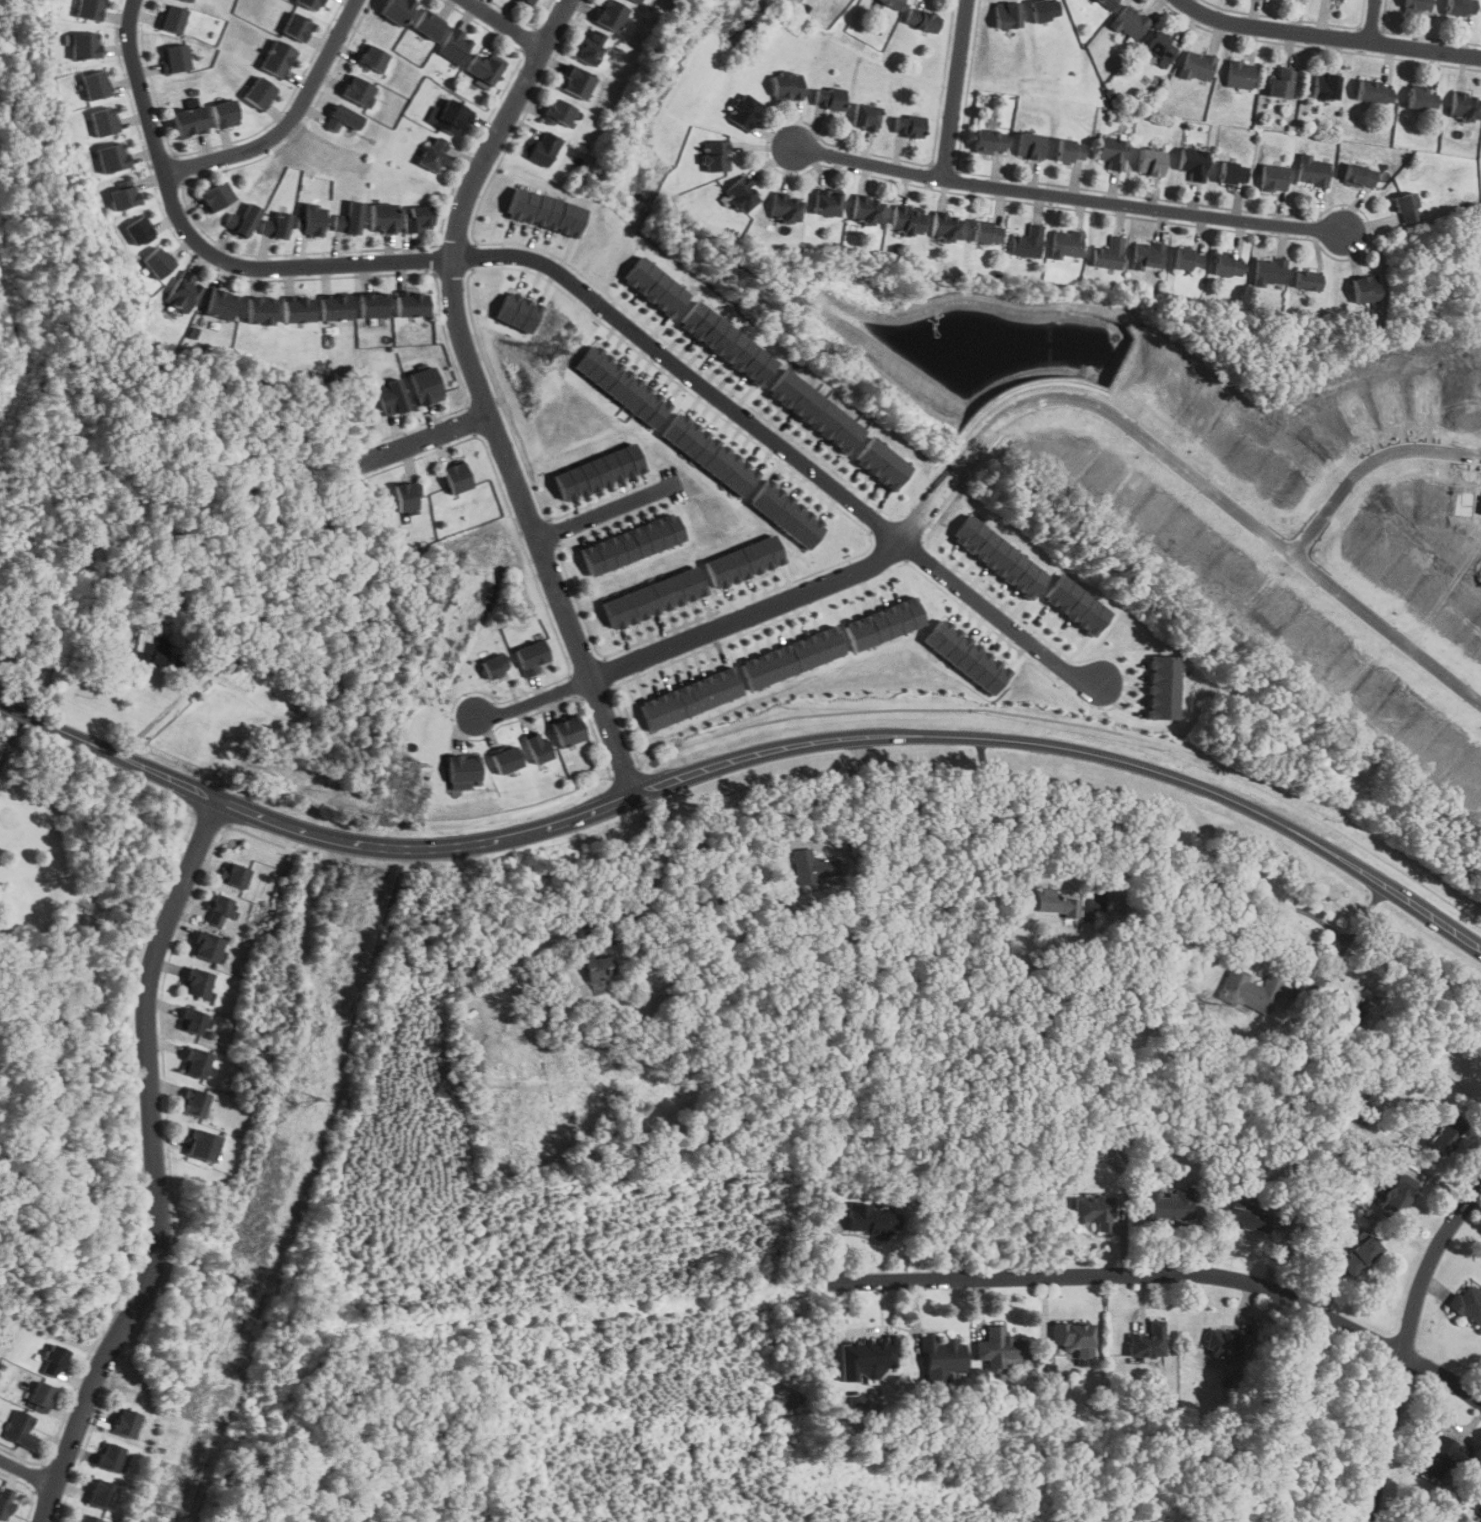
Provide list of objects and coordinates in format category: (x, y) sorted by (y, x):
building: (189, 0)
building: (184, 1)
building: (639, 1)
building: (525, 2)
building: (307, 3)
building: (893, 3)
building: (1107, 4)
building: (1417, 5)
building: (1460, 7)
building: (88, 9)
building: (1044, 9)
building: (396, 10)
building: (611, 14)
building: (1006, 14)
building: (171, 18)
building: (921, 19)
road: (1374, 21)
building: (1130, 23)
building: (427, 24)
road: (505, 24)
building: (294, 26)
road: (1329, 37)
building: (455, 44)
building: (84, 45)
building: (1162, 46)
building: (591, 47)
building: (173, 58)
building: (276, 58)
building: (370, 58)
building: (484, 66)
building: (1197, 66)
building: (1240, 75)
building: (578, 82)
building: (1280, 83)
building: (96, 84)
building: (786, 85)
building: (1325, 85)
road: (954, 89)
building: (357, 91)
building: (1373, 91)
building: (258, 93)
building: (828, 97)
building: (1421, 97)
building: (1465, 106)
building: (743, 111)
building: (559, 112)
building: (223, 114)
building: (864, 116)
building: (451, 117)
building: (341, 118)
building: (104, 120)
road: (290, 121)
building: (188, 122)
building: (907, 125)
building: (989, 141)
building: (1029, 145)
building: (541, 148)
building: (1070, 151)
building: (1112, 152)
building: (432, 153)
building: (716, 156)
building: (111, 158)
building: (1150, 162)
building: (1193, 163)
building: (1311, 171)
building: (1233, 173)
building: (1359, 175)
building: (1273, 178)
building: (741, 195)
building: (213, 196)
building: (122, 197)
road: (1068, 197)
building: (827, 203)
building: (1406, 208)
building: (786, 209)
building: (867, 209)
building: (546, 211)
building: (380, 217)
building: (348, 218)
building: (416, 218)
building: (309, 219)
building: (241, 220)
building: (906, 220)
building: (274, 225)
building: (946, 226)
building: (134, 230)
building: (986, 231)
building: (1027, 242)
building: (1066, 244)
building: (1108, 254)
building: (1147, 255)
building: (1187, 259)
building: (154, 263)
building: (1227, 265)
building: (1269, 271)
building: (1307, 280)
building: (656, 286)
road: (581, 288)
building: (1365, 288)
building: (181, 292)
building: (410, 303)
building: (371, 304)
building: (219, 305)
building: (334, 307)
building: (297, 309)
building: (258, 311)
building: (519, 311)
building: (728, 342)
power tower: (546, 350)
building: (426, 385)
building: (623, 386)
building: (391, 396)
road: (484, 397)
building: (815, 411)
road: (990, 431)
road: (421, 441)
building: (710, 454)
building: (881, 463)
road: (1370, 471)
building: (598, 472)
building: (457, 477)
building: (407, 496)
road: (605, 511)
building: (786, 514)
building: (632, 543)
building: (999, 556)
building: (743, 561)
building: (652, 597)
building: (1077, 604)
building: (884, 622)
building: (149, 648)
building: (532, 656)
building: (967, 656)
building: (793, 657)
building: (494, 665)
building: (1164, 687)
building: (691, 698)
road: (1, 707)
road: (164, 710)
road: (60, 730)
building: (566, 731)
road: (10, 737)
building: (537, 748)
building: (506, 759)
road: (751, 759)
power tower: (411, 764)
building: (462, 770)
road: (1041, 802)
road: (805, 806)
building: (810, 866)
building: (234, 875)
building: (1054, 902)
building: (1114, 903)
road: (640, 905)
building: (220, 910)
road: (1430, 919)
building: (207, 947)
road: (1342, 951)
building: (593, 965)
building: (198, 984)
building: (1249, 991)
building: (190, 1021)
building: (476, 1061)
building: (195, 1064)
power tower: (301, 1095)
building: (194, 1103)
building: (1446, 1134)
building: (202, 1146)
road: (154, 1166)
building: (1396, 1195)
building: (1169, 1204)
building: (1094, 1211)
building: (871, 1218)
building: (1247, 1219)
building: (1361, 1235)
building: (1360, 1255)
road: (1171, 1273)
building: (1467, 1303)
building: (1074, 1337)
building: (1148, 1340)
building: (1223, 1340)
road: (1405, 1346)
building: (999, 1347)
building: (865, 1354)
building: (942, 1354)
building: (53, 1361)
building: (39, 1396)
building: (124, 1423)
building: (20, 1430)
building: (1441, 1455)
building: (109, 1456)
road: (26, 1472)
building: (100, 1492)
building: (4, 1500)
power tower: (165, 1509)
building: (1479, 1511)
building: (86, 1518)

